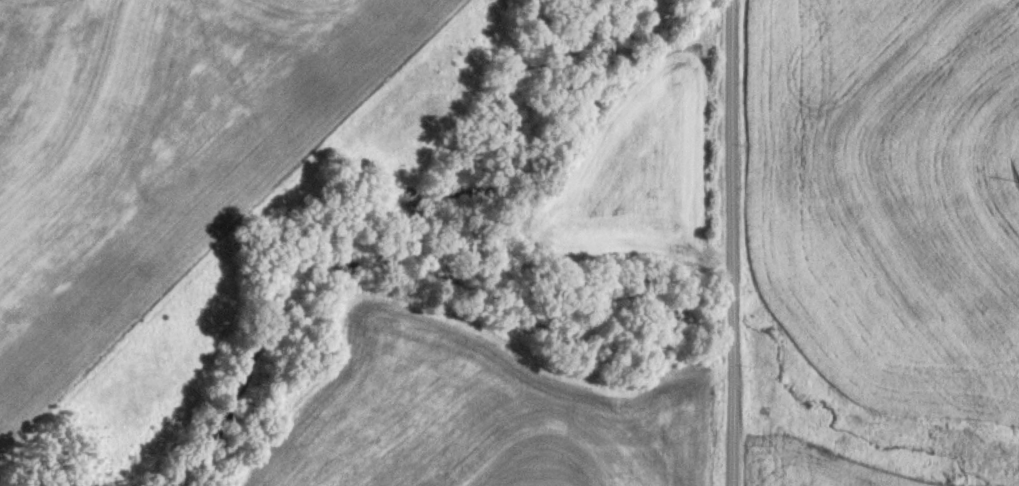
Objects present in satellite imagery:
road: (726, 243)

